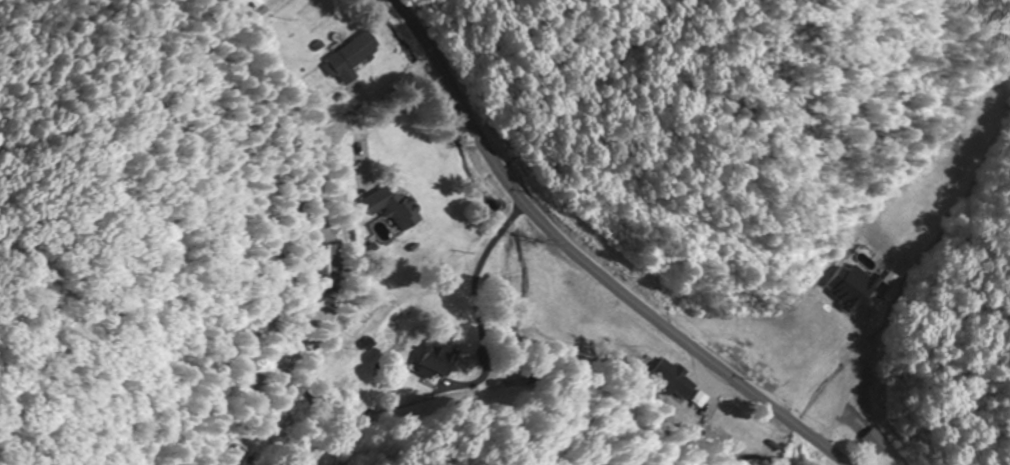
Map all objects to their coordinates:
building: (254, 2)
building: (349, 57)
building: (392, 207)
road: (354, 259)
building: (328, 264)
road: (583, 264)
building: (439, 354)
building: (870, 385)
building: (692, 393)

